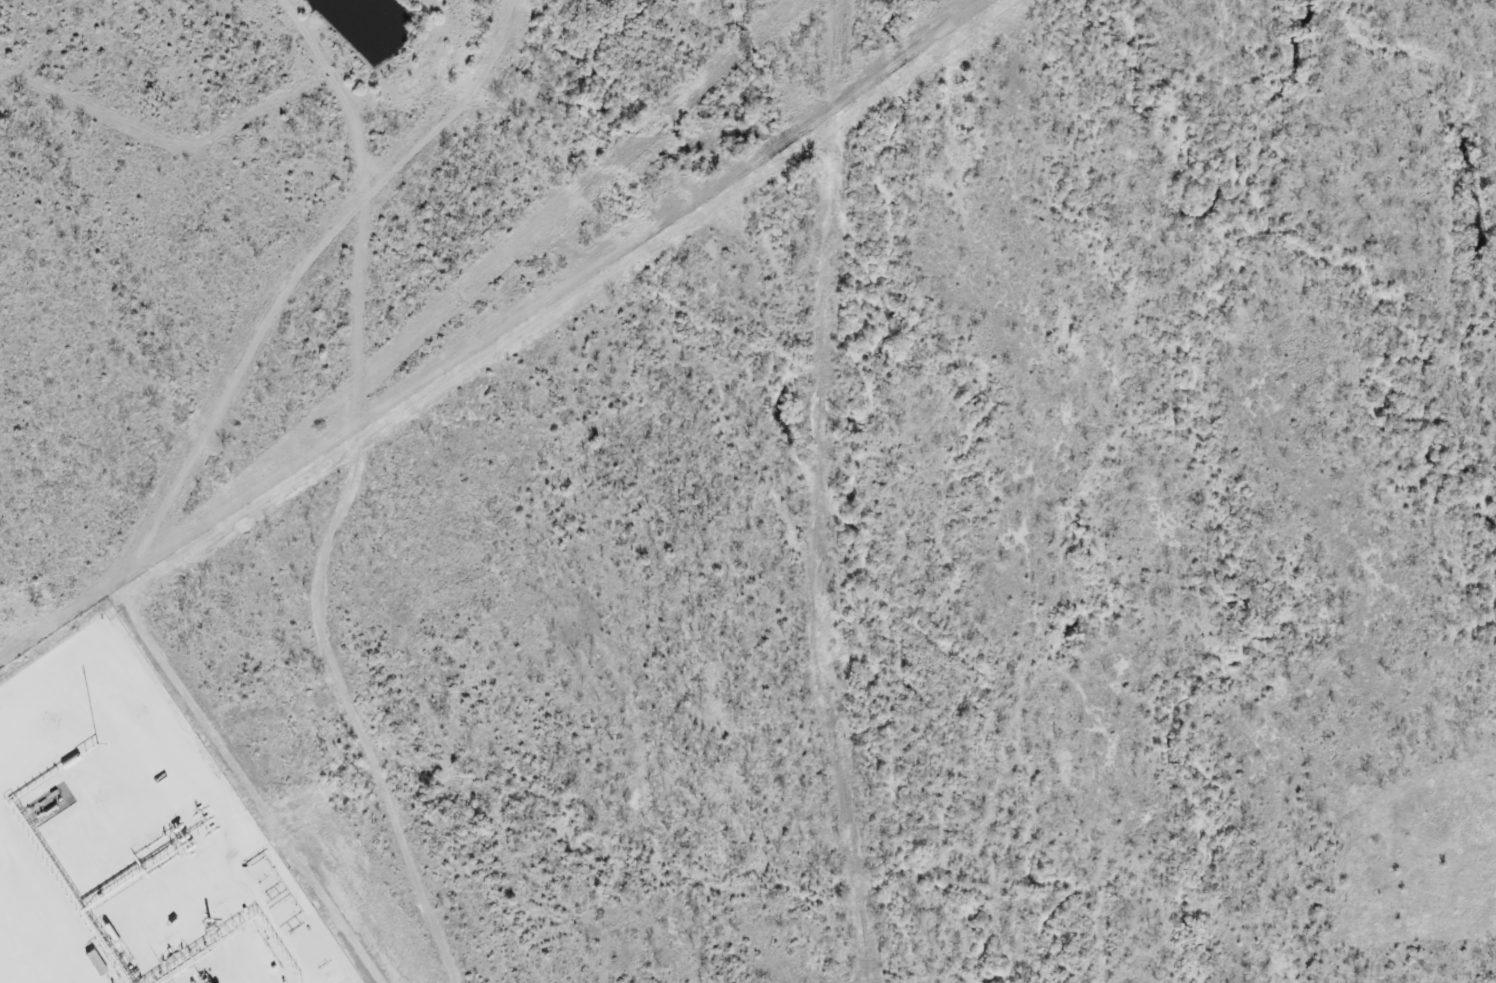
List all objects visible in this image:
road: (240, 979)

